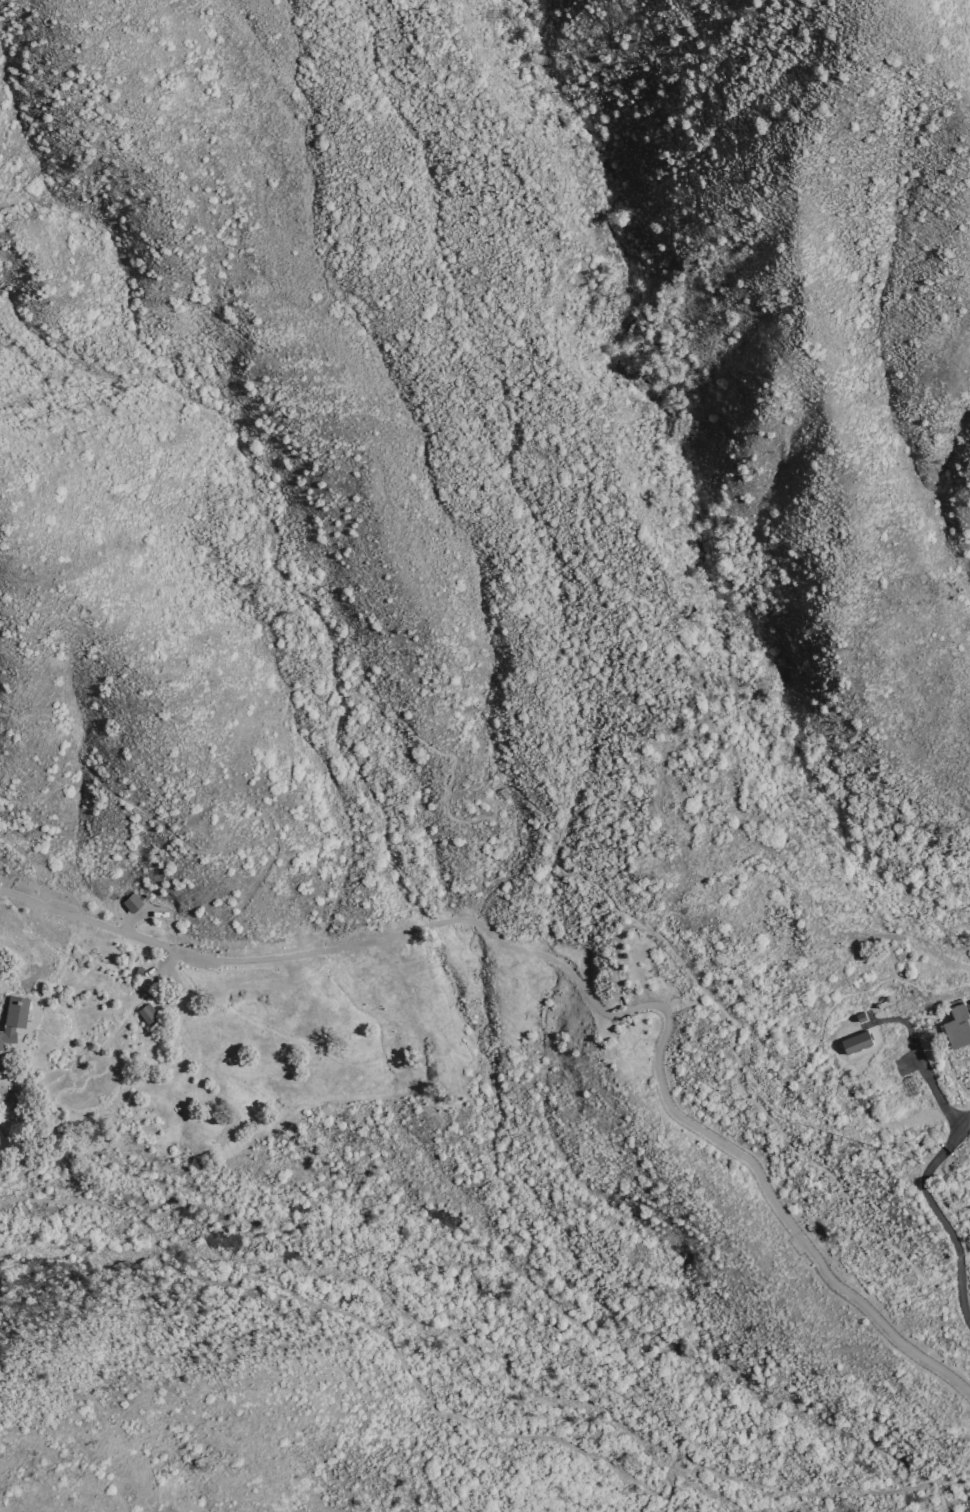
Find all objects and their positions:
road: (602, 417)
road: (512, 790)
road: (785, 850)
building: (131, 902)
road: (336, 951)
building: (623, 954)
storage tank: (623, 954)
building: (138, 970)
building: (886, 998)
storage tank: (886, 998)
building: (877, 1004)
storage tank: (877, 1004)
building: (144, 1011)
building: (11, 1016)
building: (861, 1018)
building: (957, 1025)
building: (856, 1041)
road: (916, 1048)
road: (773, 1206)
road: (937, 1210)
road: (463, 1418)
road: (644, 1499)

